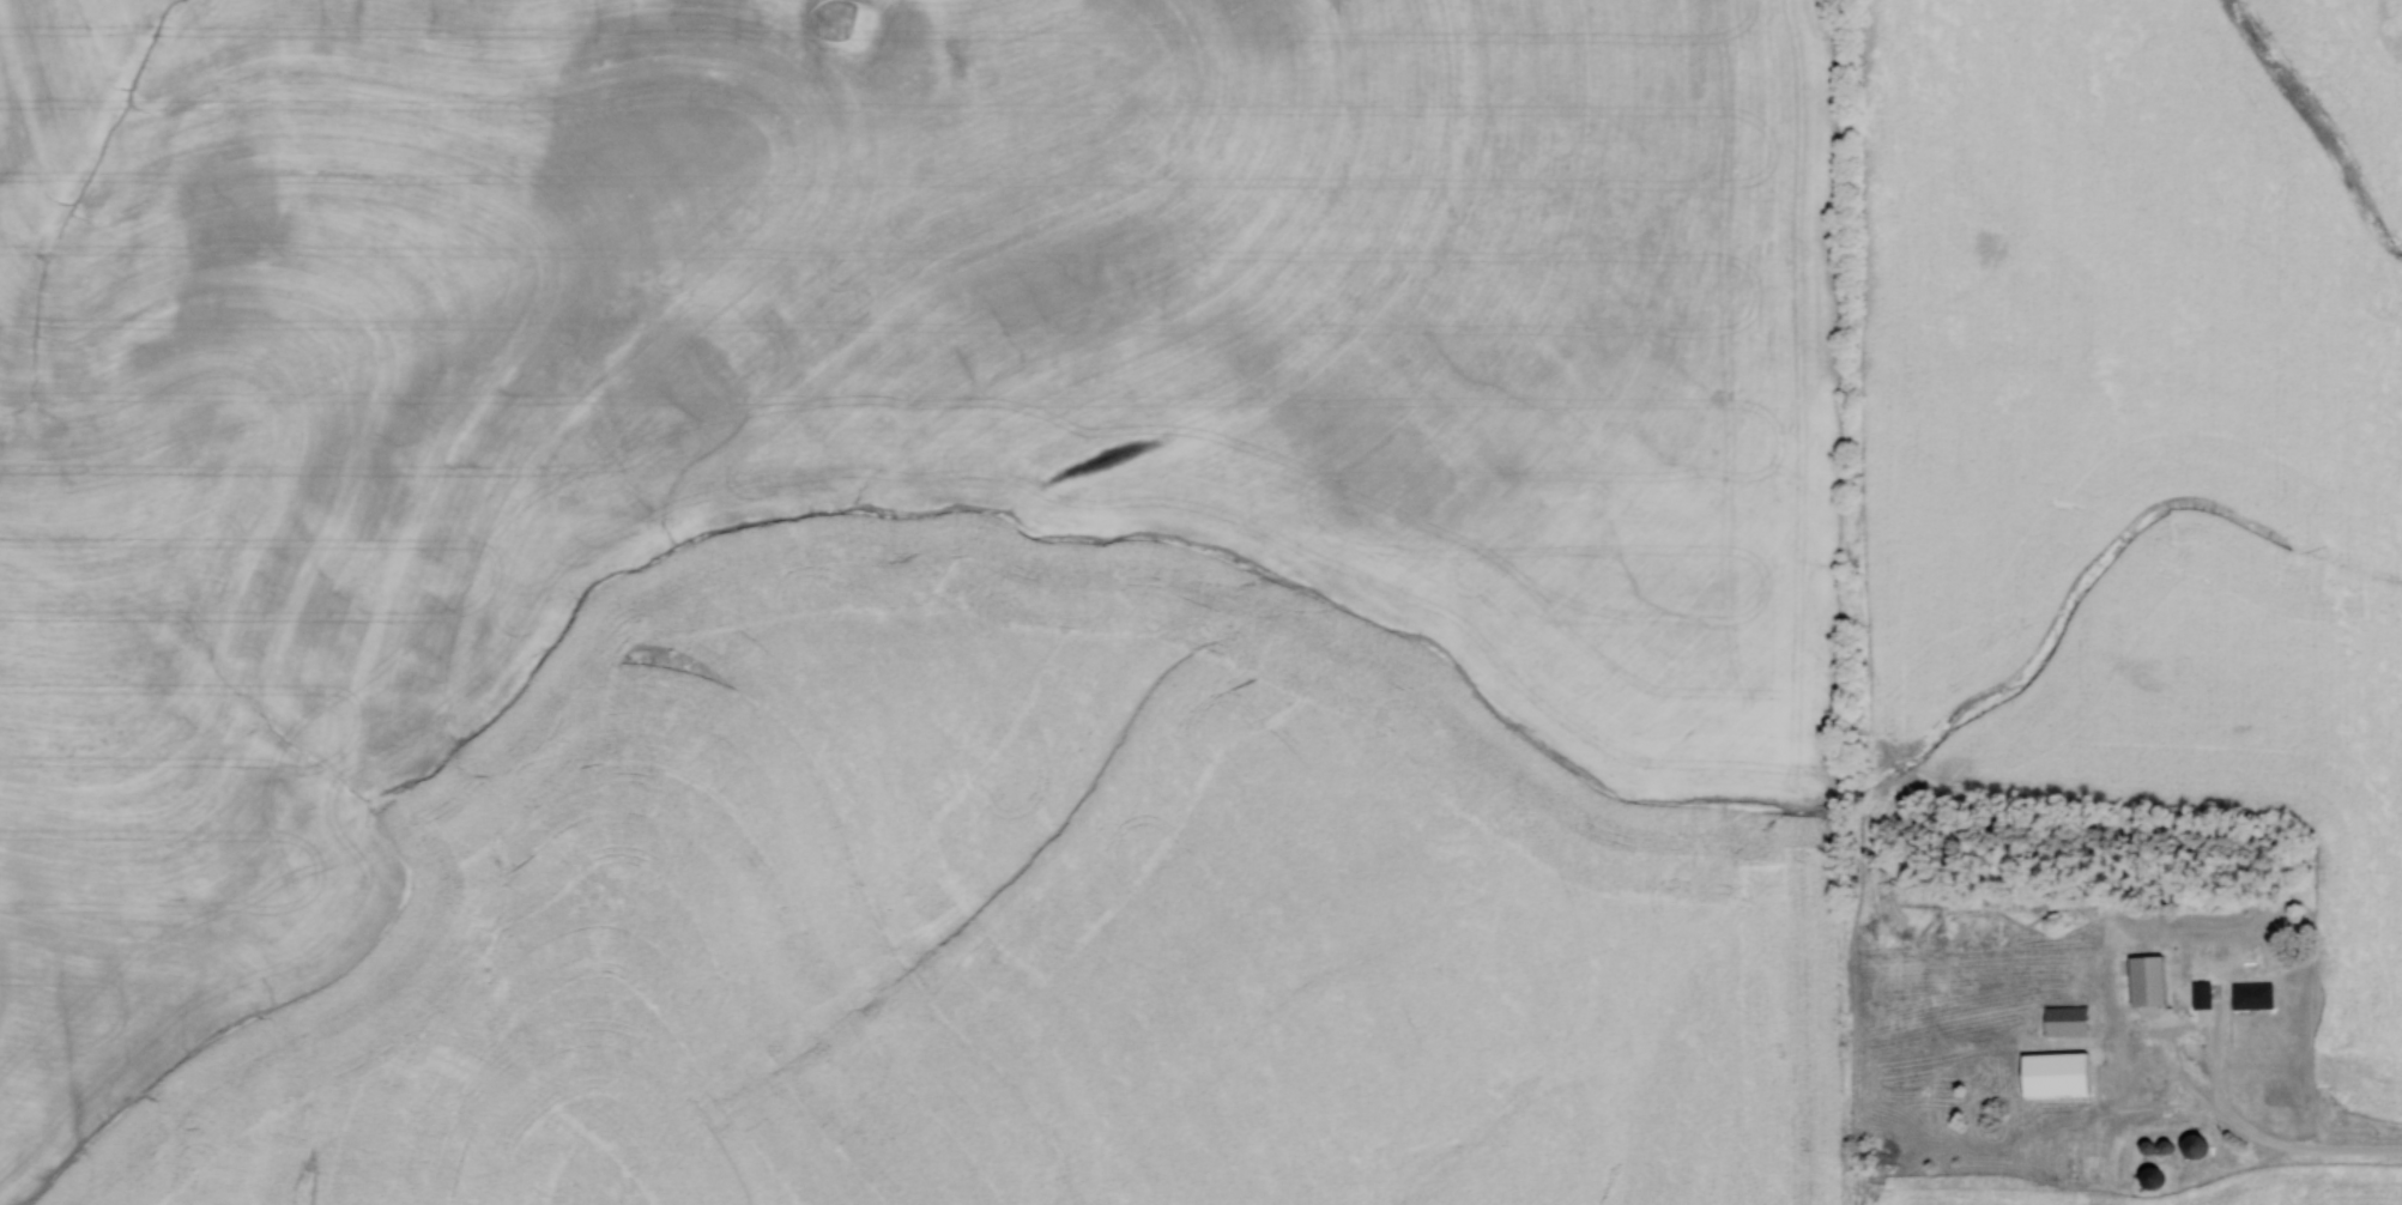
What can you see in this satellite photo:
building: (2146, 982)
building: (2201, 997)
building: (2251, 998)
building: (2065, 1023)
building: (2195, 1150)
road: (2269, 1151)
building: (2080, 1157)
building: (2150, 1180)

